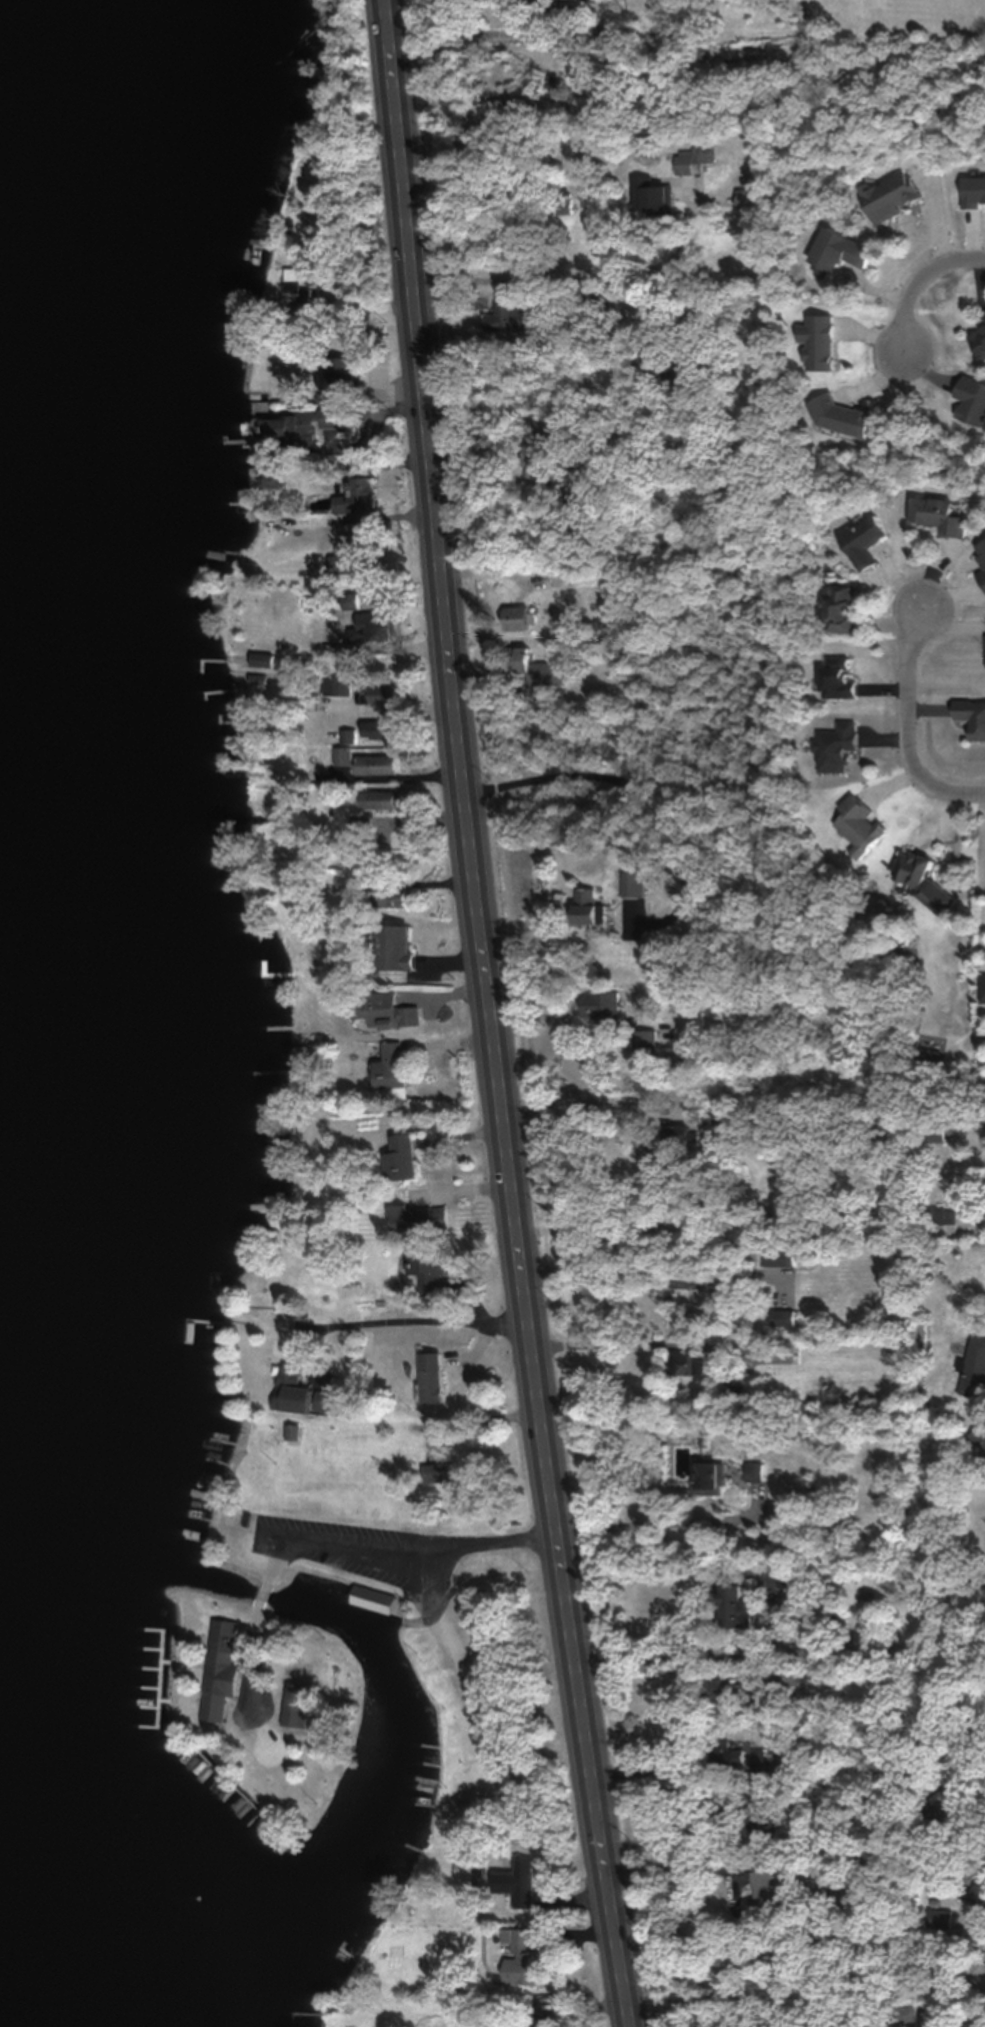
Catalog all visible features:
building: (545, 11)
road: (478, 33)
building: (507, 107)
building: (697, 158)
building: (890, 195)
building: (657, 196)
building: (747, 197)
building: (835, 250)
road: (925, 281)
building: (507, 314)
building: (977, 340)
building: (816, 341)
building: (338, 379)
building: (839, 417)
building: (297, 427)
building: (548, 464)
building: (265, 478)
building: (936, 515)
building: (863, 541)
building: (981, 560)
building: (345, 564)
building: (838, 608)
building: (518, 617)
building: (375, 627)
building: (609, 647)
building: (984, 651)
building: (837, 678)
building: (342, 686)
building: (385, 694)
building: (969, 717)
road: (907, 725)
building: (382, 729)
building: (350, 735)
building: (834, 746)
building: (344, 755)
building: (380, 764)
building: (383, 799)
building: (364, 823)
building: (856, 825)
building: (366, 858)
building: (920, 881)
building: (637, 883)
building: (392, 897)
building: (596, 906)
building: (396, 947)
building: (981, 988)
building: (606, 1008)
building: (392, 1010)
road: (493, 1015)
road: (704, 1019)
river: (22, 1027)
building: (648, 1041)
building: (395, 1074)
building: (940, 1130)
building: (682, 1138)
building: (405, 1157)
road: (723, 1215)
building: (423, 1218)
building: (779, 1255)
building: (433, 1273)
building: (683, 1280)
road: (795, 1287)
building: (775, 1351)
building: (686, 1363)
building: (974, 1367)
building: (437, 1377)
building: (979, 1435)
building: (471, 1446)
building: (984, 1461)
building: (709, 1473)
road: (349, 1539)
road: (458, 1541)
road: (277, 1550)
road: (262, 1590)
building: (372, 1597)
building: (733, 1605)
road: (254, 1649)
road: (676, 1656)
building: (219, 1659)
road: (654, 1670)
building: (720, 1690)
building: (297, 1696)
building: (728, 1755)
building: (947, 1798)
building: (468, 1849)
building: (527, 1882)
building: (977, 1891)
building: (938, 1918)
building: (528, 1958)
building: (908, 2019)
building: (548, 2020)

